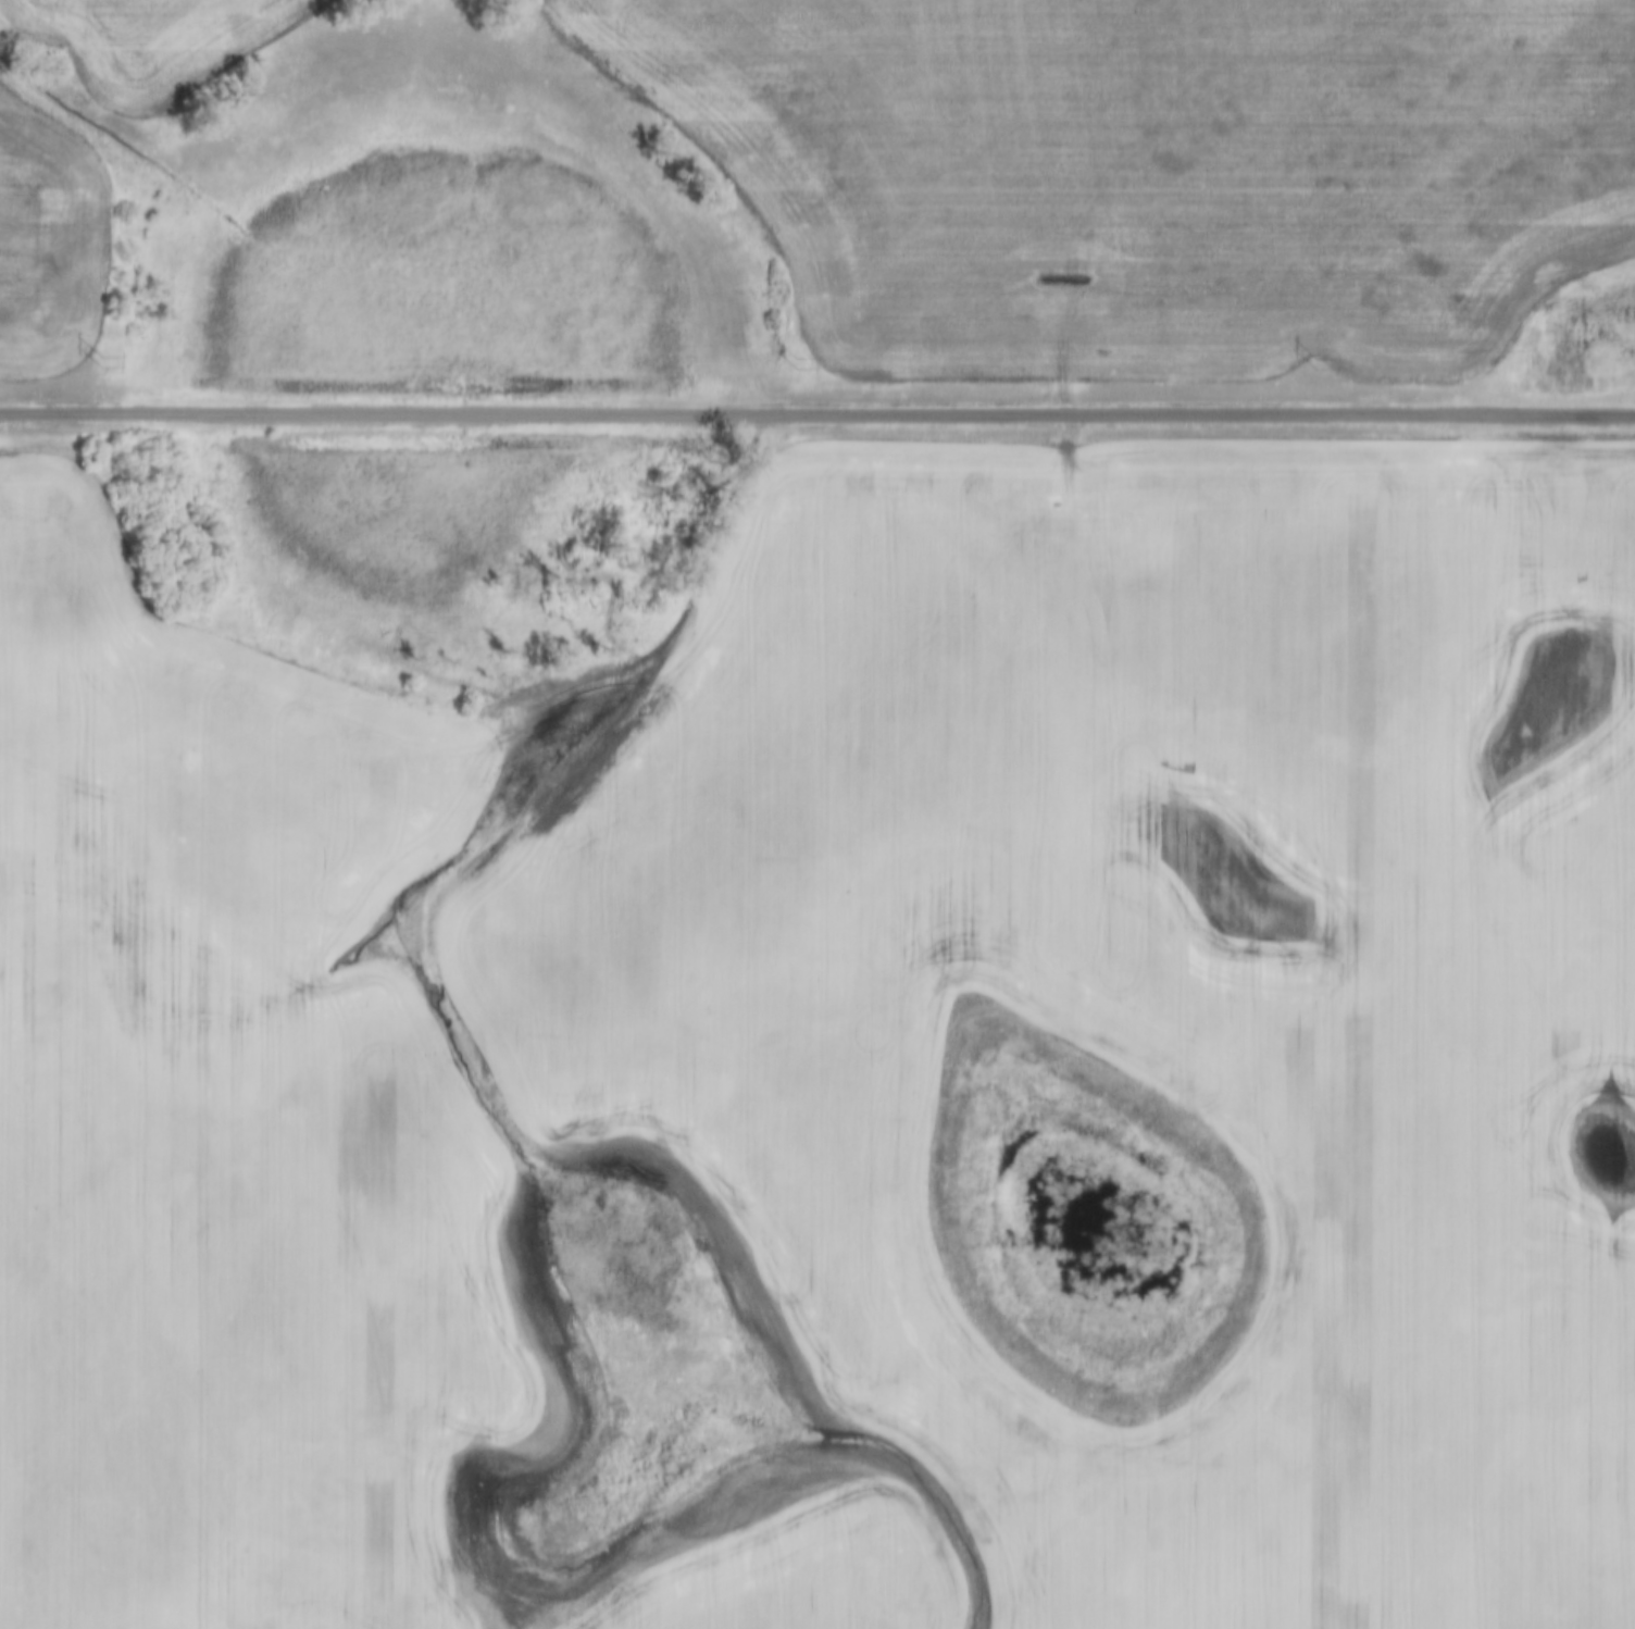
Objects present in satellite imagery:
road: (816, 414)

